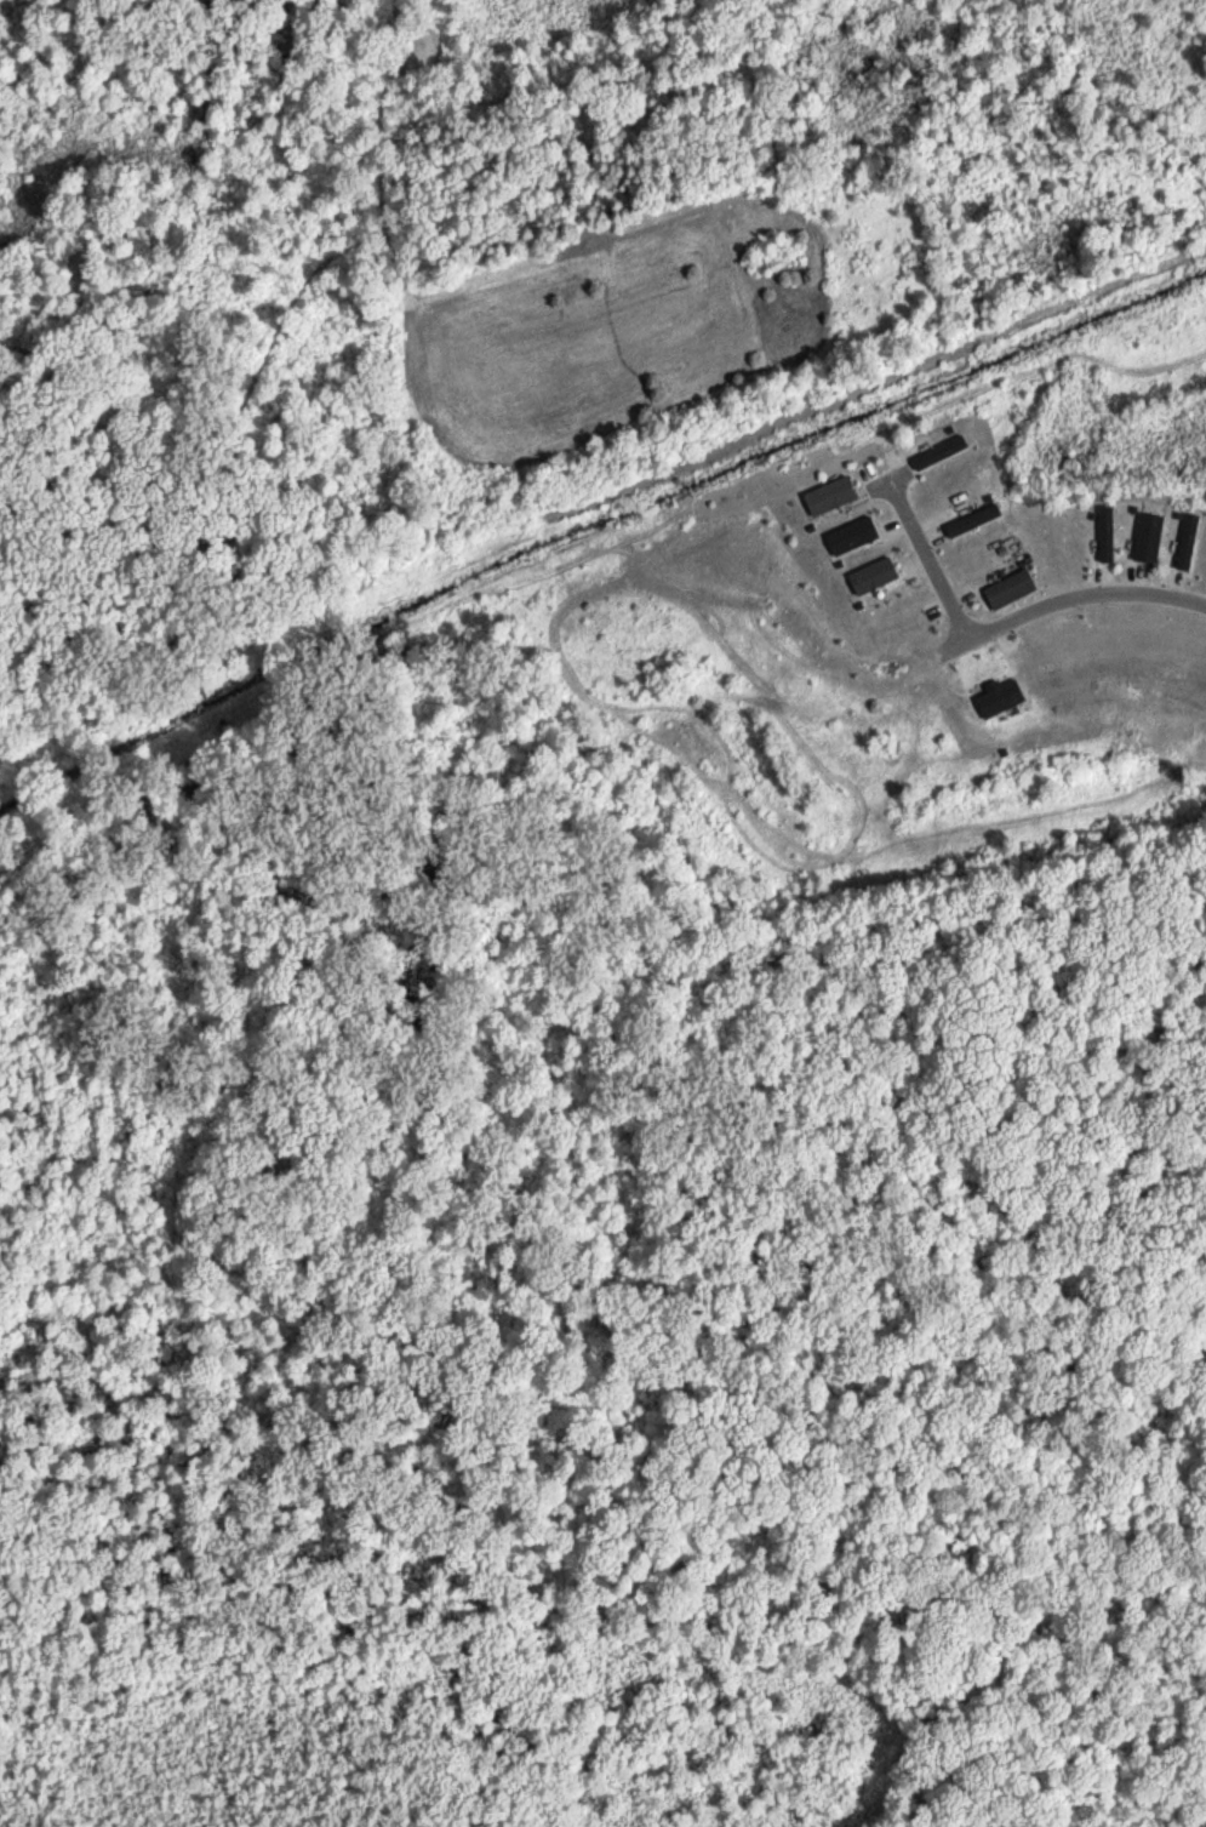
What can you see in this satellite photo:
building: (937, 451)
building: (825, 492)
building: (968, 519)
building: (1104, 531)
building: (848, 532)
building: (1145, 536)
building: (1184, 539)
road: (930, 563)
building: (868, 573)
building: (1005, 586)
road: (1065, 600)
building: (995, 693)

